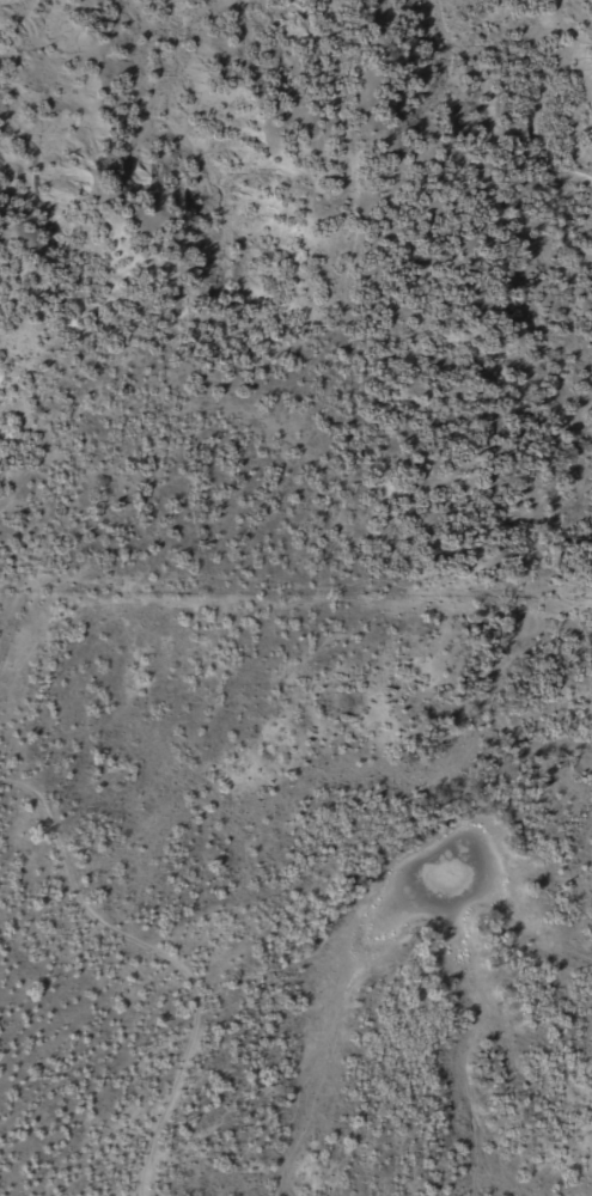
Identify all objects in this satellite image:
road: (268, 873)

